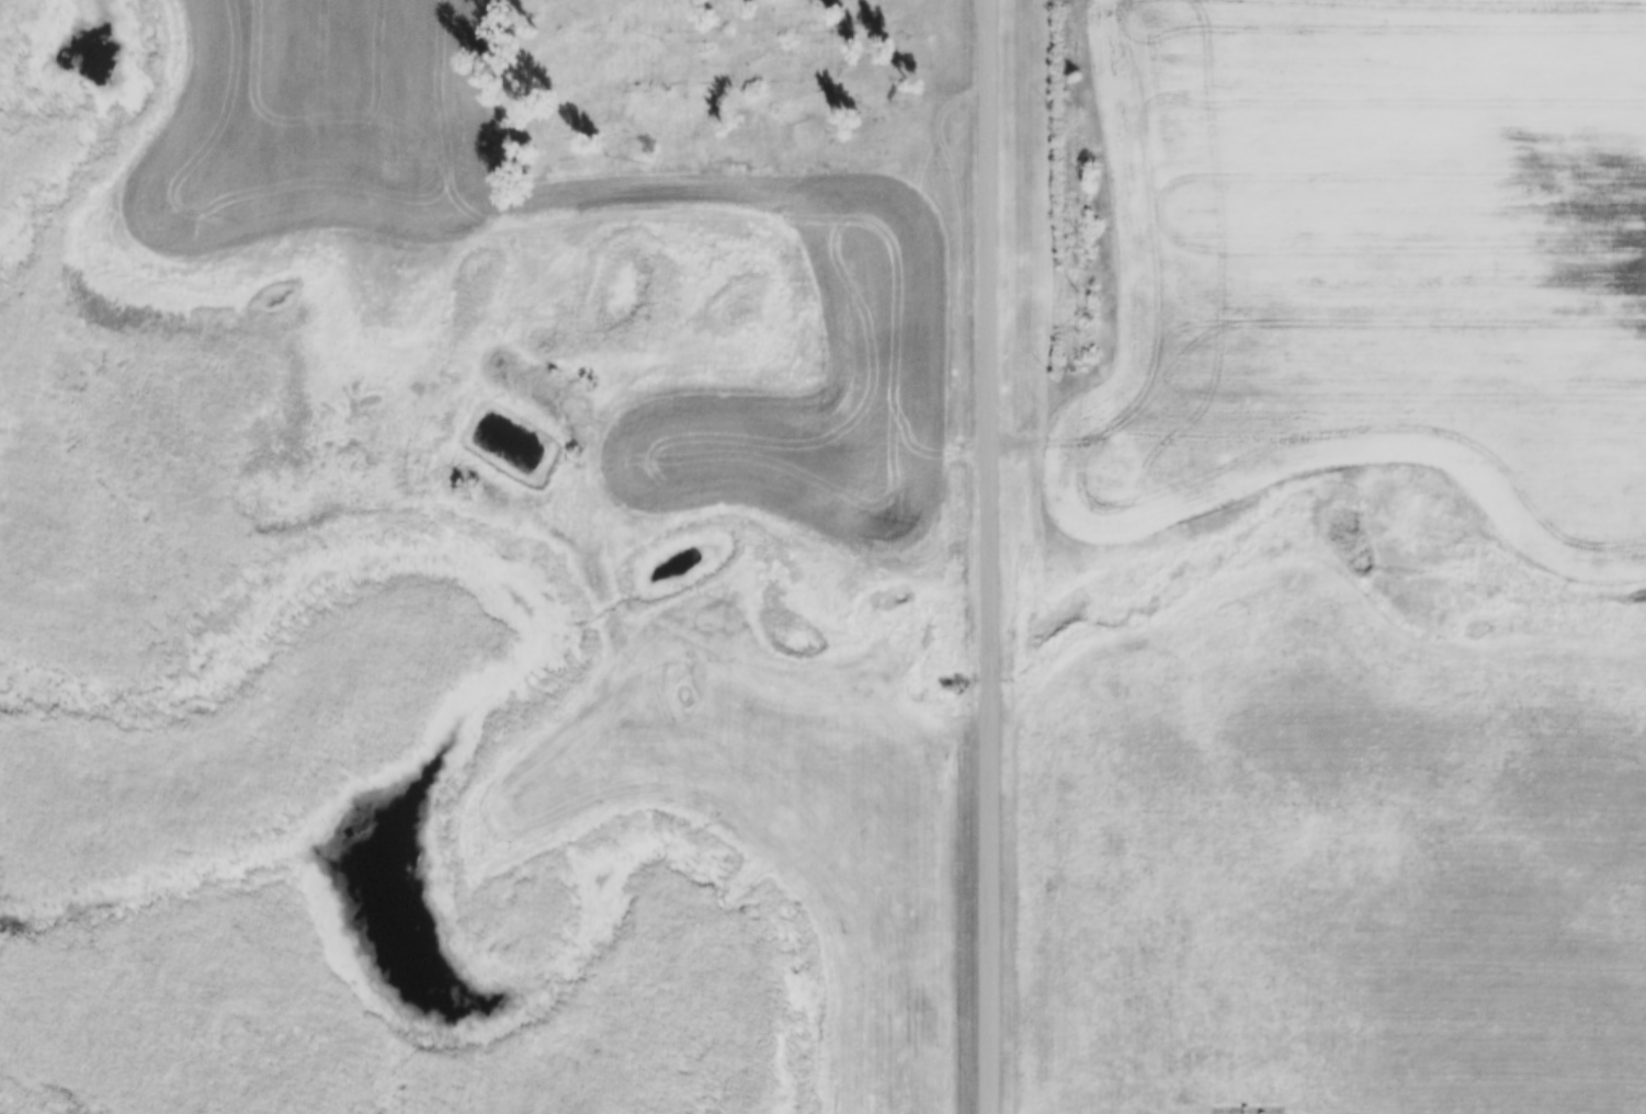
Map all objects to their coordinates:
crop: (875, 298)
road: (986, 557)

